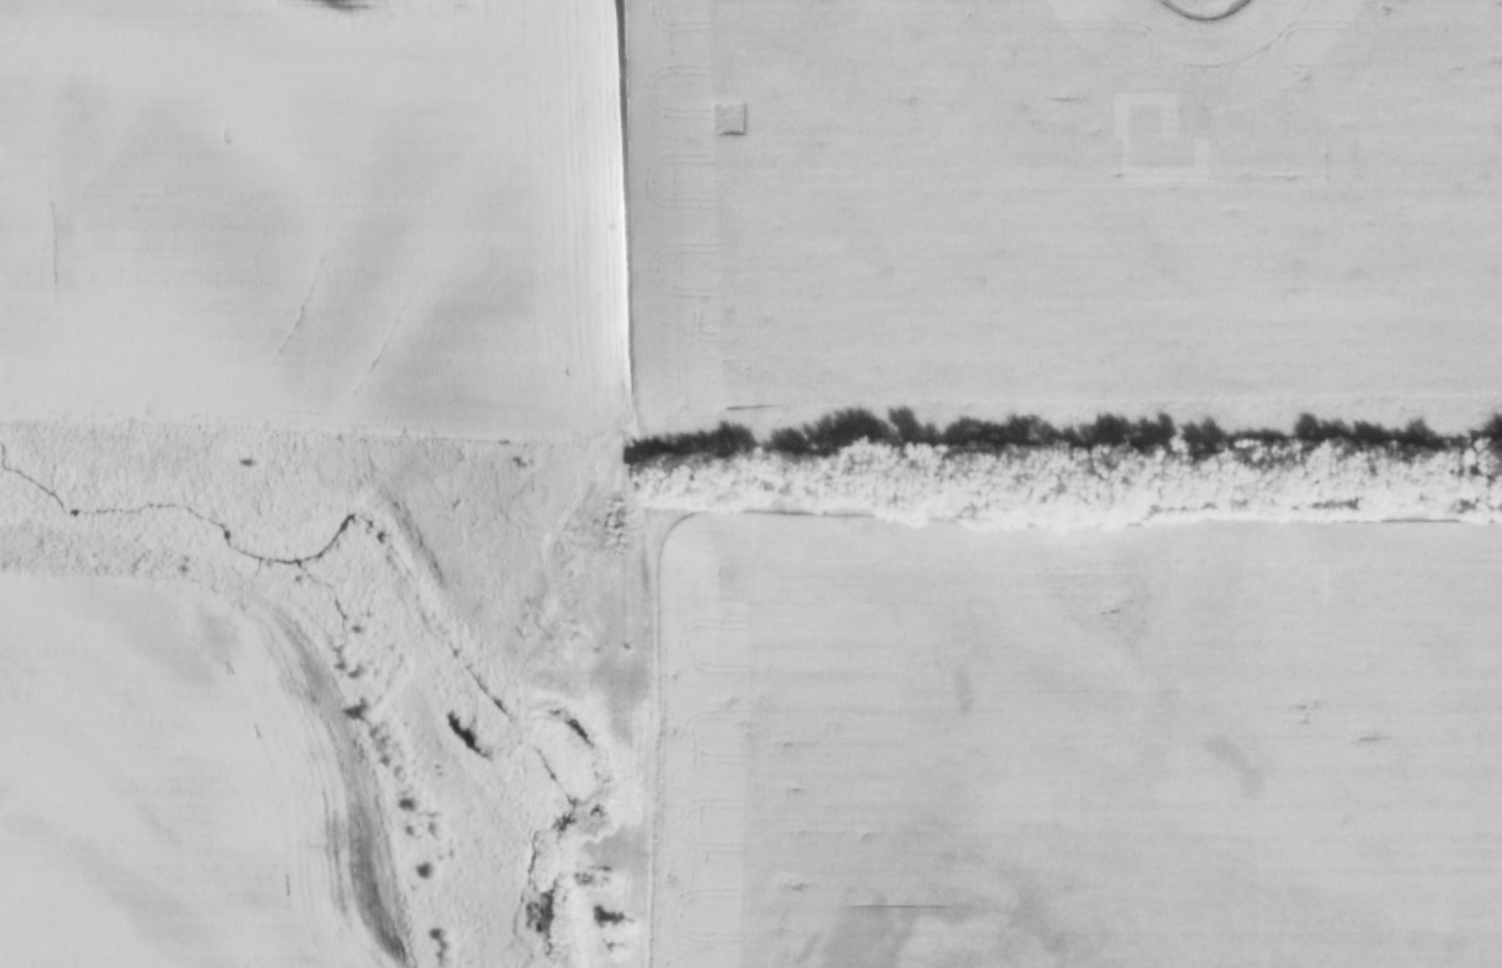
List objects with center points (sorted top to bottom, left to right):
road: (644, 482)
river: (385, 615)

